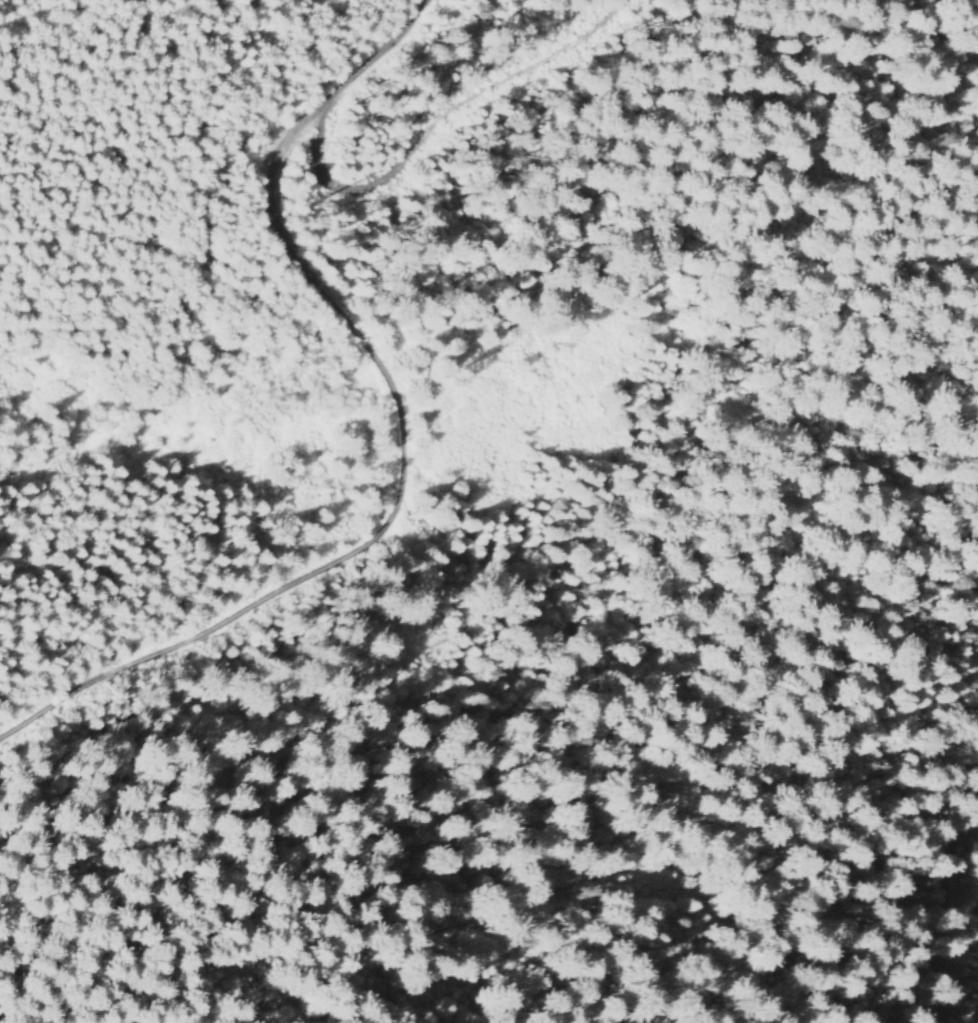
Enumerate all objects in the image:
road: (434, 137)
road: (911, 142)
road: (412, 426)
road: (926, 790)
road: (630, 866)
road: (938, 888)

